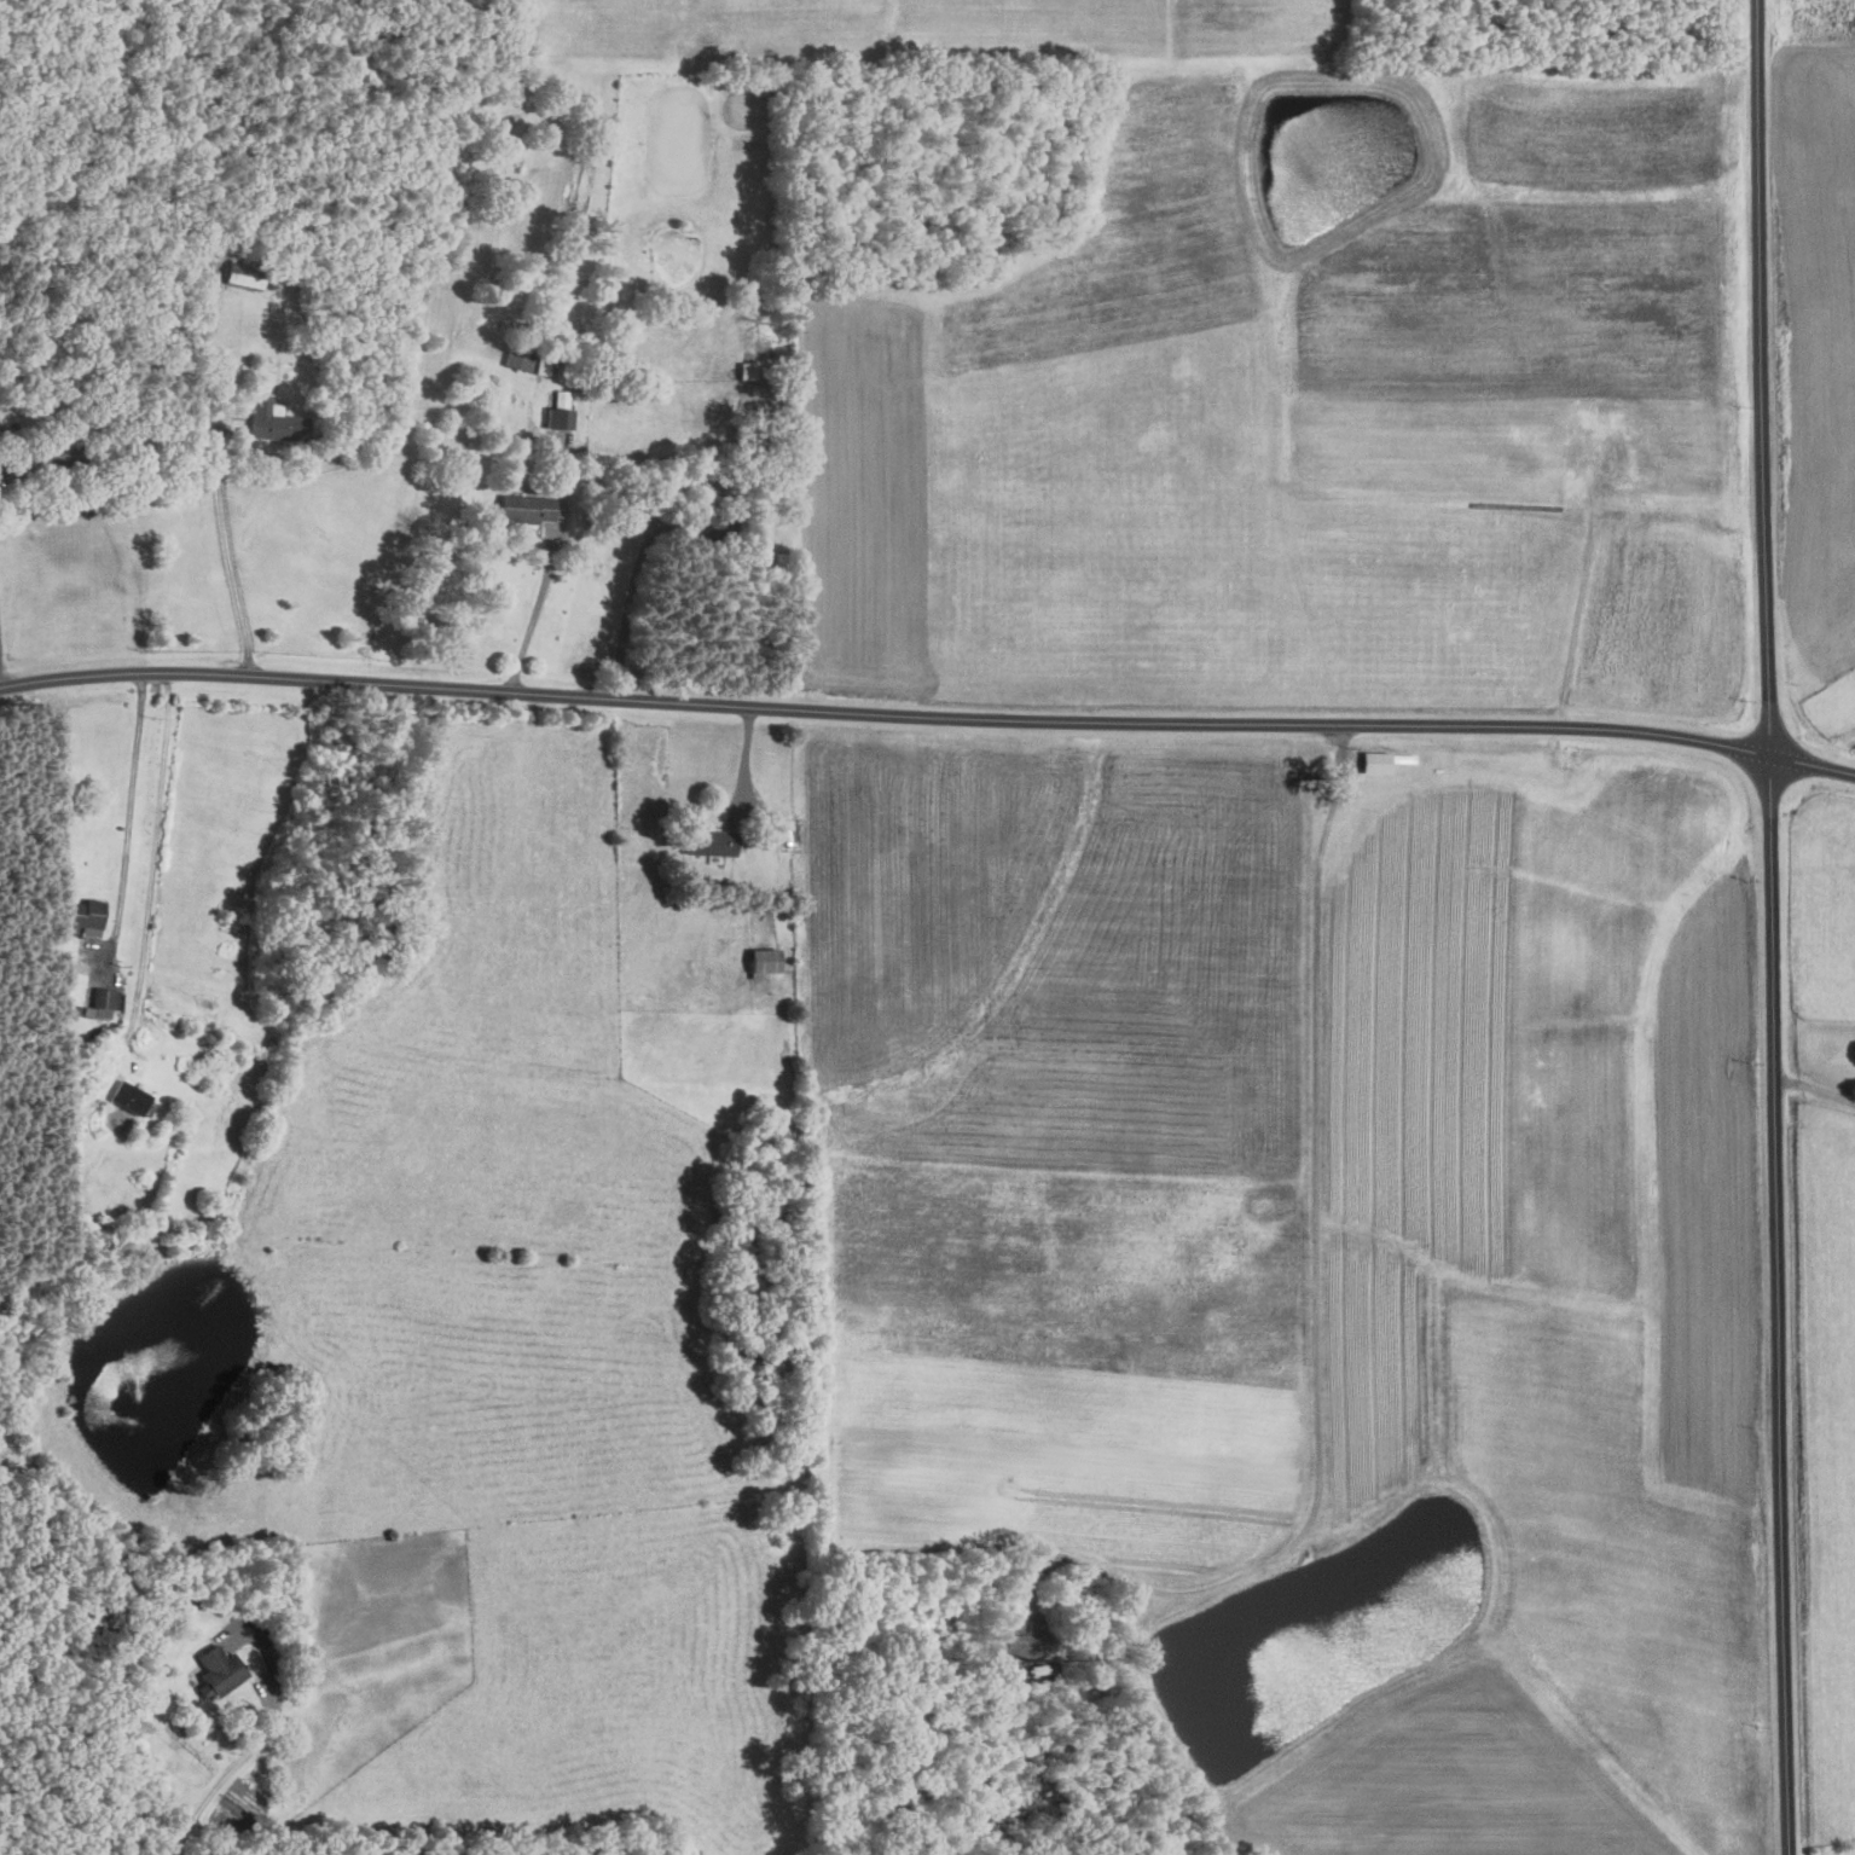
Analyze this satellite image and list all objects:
building: (746, 370)
building: (271, 422)
building: (557, 431)
building: (526, 506)
road: (227, 551)
road: (541, 582)
road: (632, 605)
road: (0, 677)
road: (928, 715)
road: (742, 764)
road: (126, 807)
building: (714, 841)
road: (151, 873)
building: (85, 915)
road: (1773, 927)
building: (764, 958)
building: (103, 1002)
road: (1815, 1089)
building: (129, 1096)
road: (1315, 1299)
building: (219, 1671)
road: (262, 1737)

